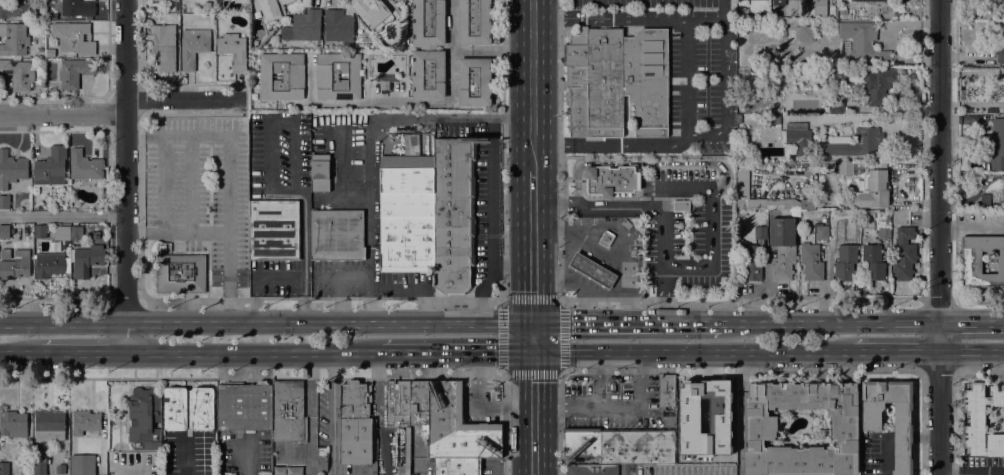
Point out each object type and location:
building: (163, 0)
building: (872, 0)
building: (177, 1)
building: (779, 2)
building: (816, 3)
building: (998, 6)
building: (78, 7)
building: (15, 8)
building: (270, 8)
road: (719, 10)
building: (843, 11)
building: (372, 13)
building: (397, 13)
building: (766, 16)
road: (455, 21)
building: (428, 22)
building: (474, 22)
building: (338, 25)
building: (303, 26)
building: (798, 34)
building: (72, 37)
building: (14, 39)
building: (863, 41)
road: (501, 43)
building: (255, 44)
building: (164, 46)
building: (193, 46)
building: (428, 47)
building: (844, 49)
building: (233, 50)
building: (50, 52)
building: (1000, 53)
building: (761, 56)
building: (781, 60)
building: (787, 71)
building: (74, 72)
building: (18, 74)
building: (428, 74)
building: (1003, 74)
building: (281, 76)
building: (337, 76)
building: (839, 77)
road: (726, 78)
building: (617, 81)
road: (687, 81)
building: (474, 82)
building: (878, 84)
building: (386, 85)
road: (532, 87)
road: (406, 97)
road: (185, 99)
building: (834, 106)
road: (62, 113)
road: (498, 116)
building: (775, 119)
road: (268, 124)
road: (134, 134)
road: (152, 134)
building: (797, 138)
building: (854, 144)
building: (997, 144)
road: (125, 161)
road: (646, 163)
building: (52, 165)
building: (84, 165)
building: (845, 168)
building: (11, 169)
building: (319, 173)
road: (367, 176)
building: (612, 179)
building: (742, 180)
road: (162, 182)
road: (190, 182)
building: (873, 188)
road: (230, 196)
building: (1003, 197)
building: (4, 201)
building: (807, 204)
building: (681, 205)
road: (654, 207)
building: (406, 213)
road: (62, 215)
building: (453, 215)
road: (709, 218)
road: (493, 220)
building: (626, 224)
road: (303, 228)
building: (273, 229)
building: (4, 231)
building: (40, 231)
road: (134, 231)
road: (153, 231)
road: (196, 231)
building: (76, 232)
building: (760, 232)
building: (822, 232)
building: (834, 232)
building: (884, 232)
building: (61, 233)
building: (337, 235)
road: (939, 237)
building: (606, 238)
road: (532, 247)
building: (782, 247)
building: (904, 254)
building: (87, 260)
building: (845, 261)
building: (980, 261)
building: (749, 262)
building: (811, 262)
building: (873, 262)
building: (49, 264)
building: (15, 265)
building: (592, 270)
building: (180, 273)
road: (512, 273)
road: (342, 276)
road: (259, 278)
road: (414, 285)
road: (303, 296)
road: (743, 296)
road: (56, 299)
road: (340, 299)
road: (320, 300)
road: (125, 301)
road: (938, 302)
road: (978, 302)
road: (503, 304)
traffic signals: (532, 321)
road: (625, 321)
road: (328, 322)
road: (830, 322)
road: (972, 322)
road: (62, 323)
road: (532, 336)
road: (125, 337)
road: (20, 351)
road: (83, 351)
road: (457, 351)
traffic signals: (533, 351)
road: (692, 351)
road: (896, 351)
road: (972, 351)
road: (253, 352)
road: (743, 370)
road: (938, 370)
road: (979, 370)
road: (303, 375)
road: (639, 378)
building: (666, 390)
building: (397, 401)
building: (419, 405)
building: (244, 406)
road: (586, 406)
building: (188, 408)
building: (288, 412)
road: (332, 413)
road: (533, 413)
road: (740, 413)
building: (704, 417)
building: (144, 418)
building: (87, 421)
building: (981, 421)
building: (355, 422)
building: (13, 424)
building: (762, 424)
building: (49, 425)
building: (457, 427)
building: (871, 427)
building: (620, 445)
building: (39, 460)
building: (82, 464)
building: (457, 466)
building: (4, 468)
building: (61, 469)
building: (591, 470)
road: (972, 472)

